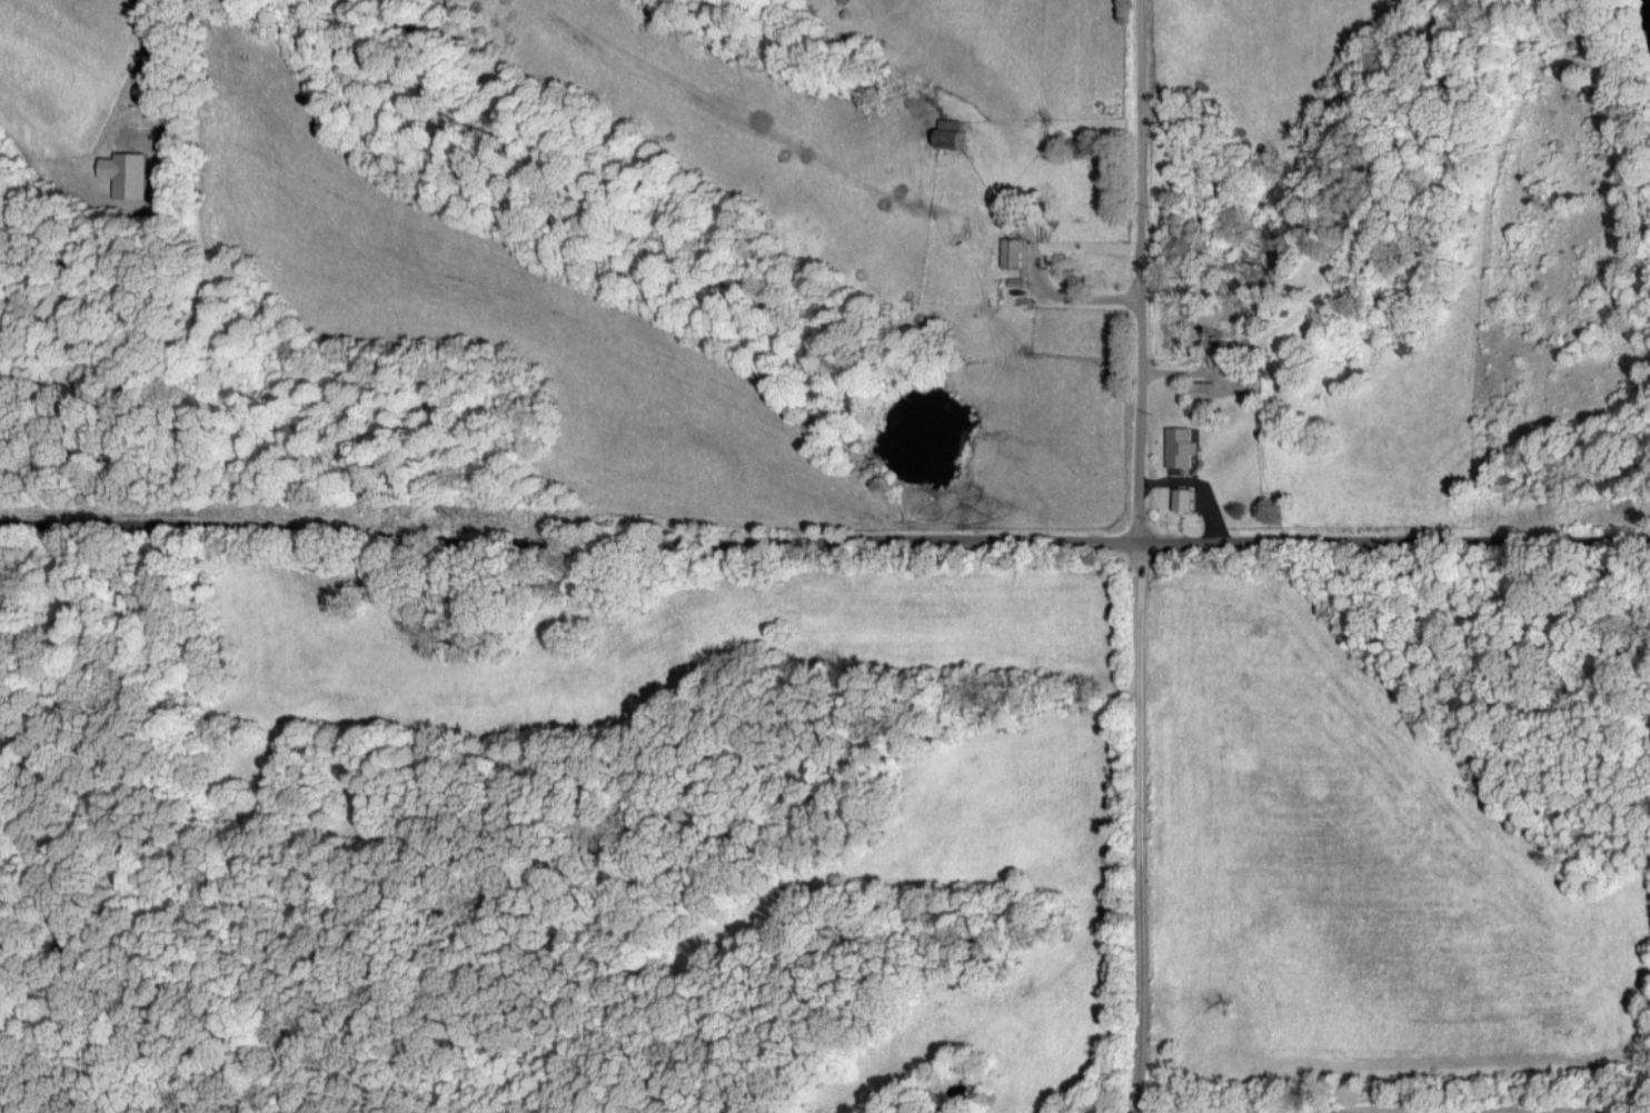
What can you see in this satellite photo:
building: (941, 137)
building: (132, 175)
building: (1181, 447)
building: (1181, 498)
road: (825, 541)
road: (1139, 556)

